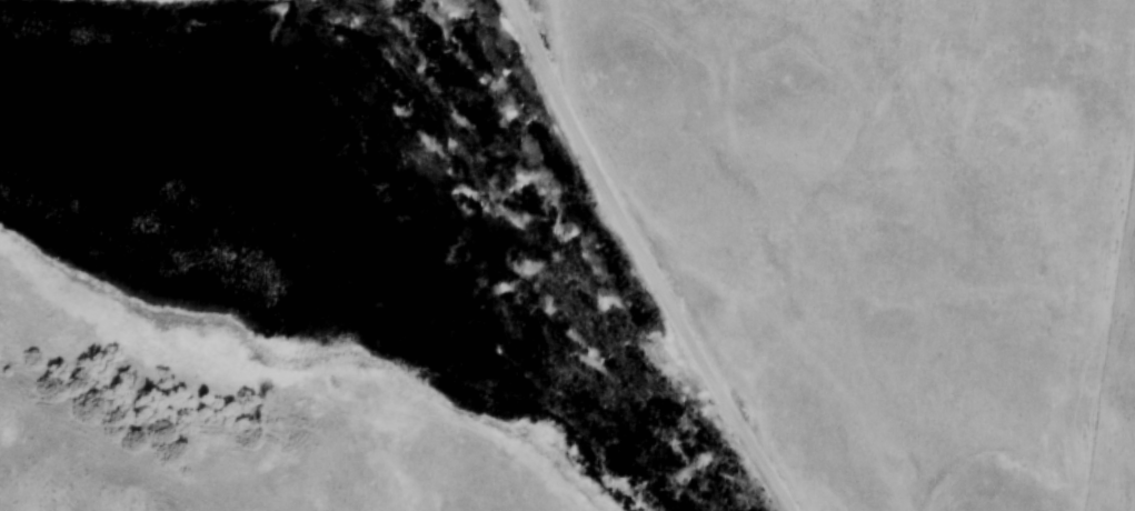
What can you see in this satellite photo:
road: (647, 262)

